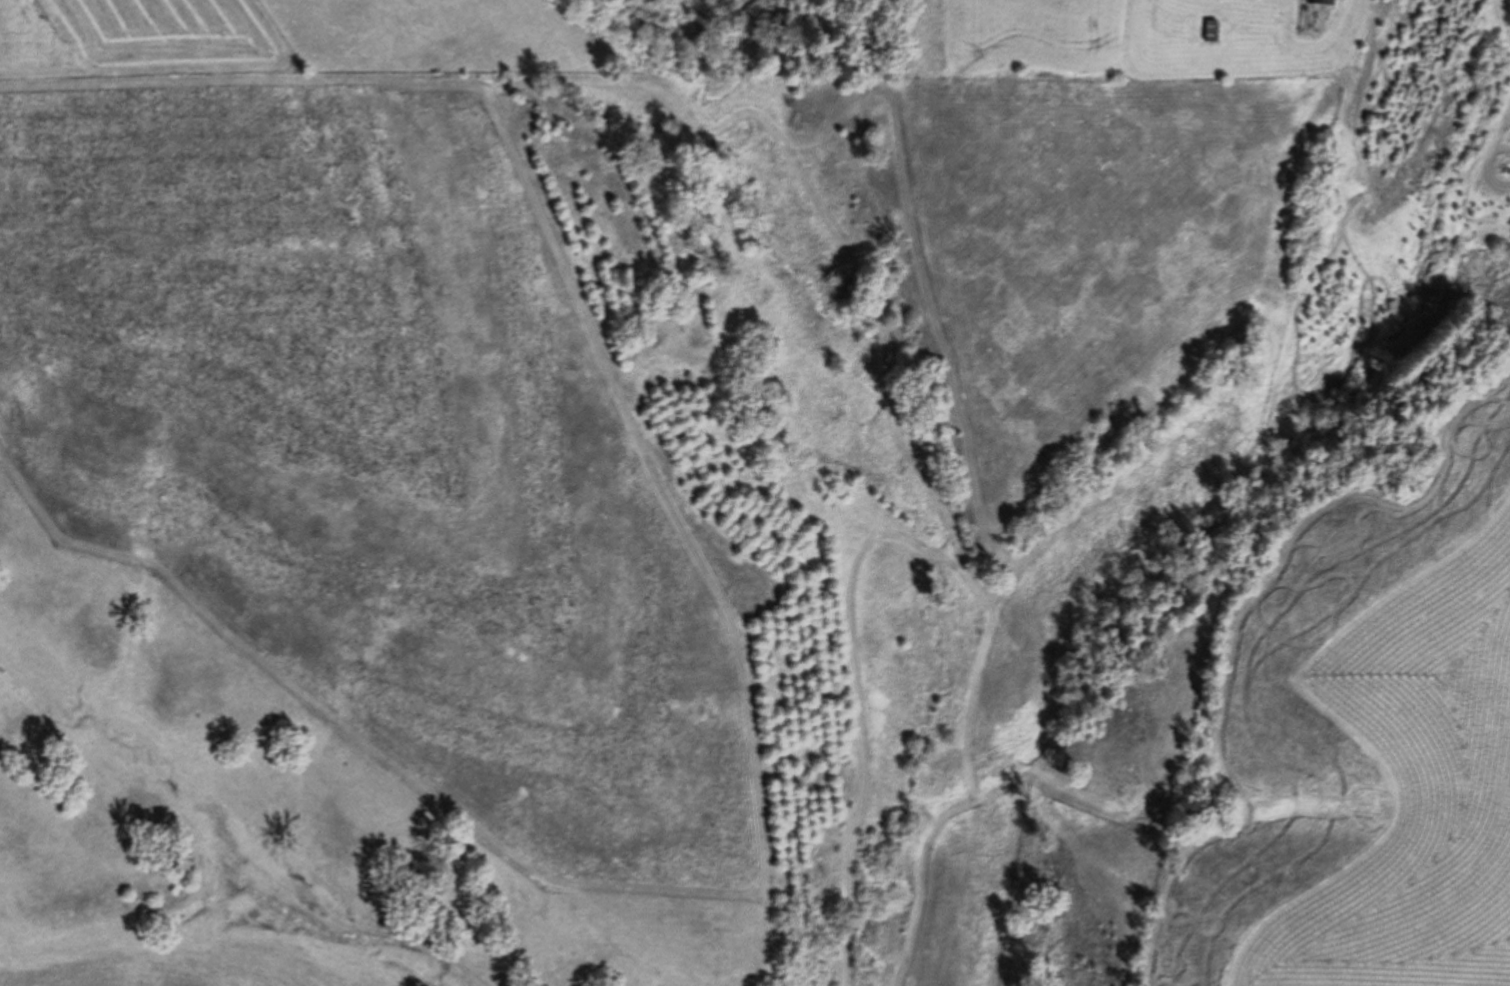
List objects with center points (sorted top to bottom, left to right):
building: (1325, 1)
building: (1211, 30)

